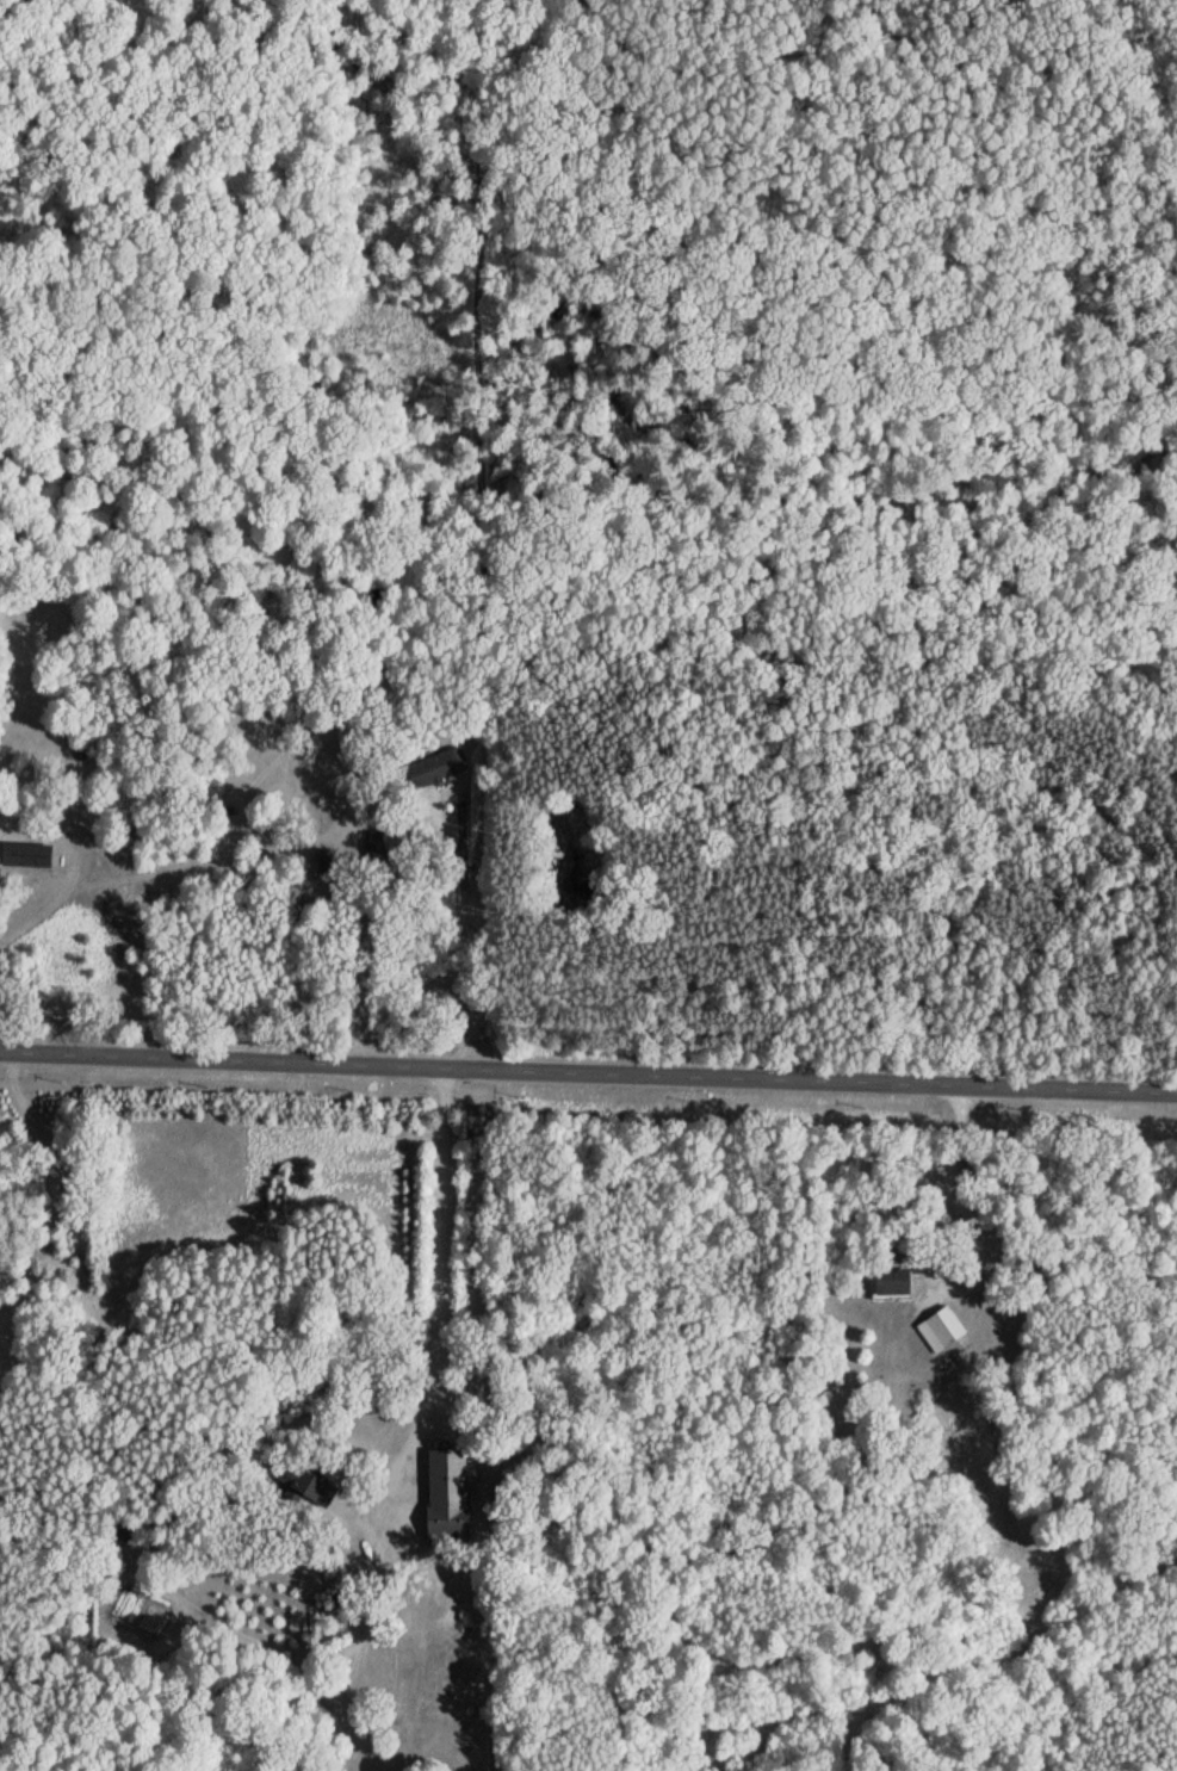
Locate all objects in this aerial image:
road: (981, 136)
building: (438, 766)
building: (25, 854)
road: (588, 1069)
building: (891, 1282)
building: (938, 1329)
road: (829, 1490)
building: (446, 1491)
building: (320, 1492)

